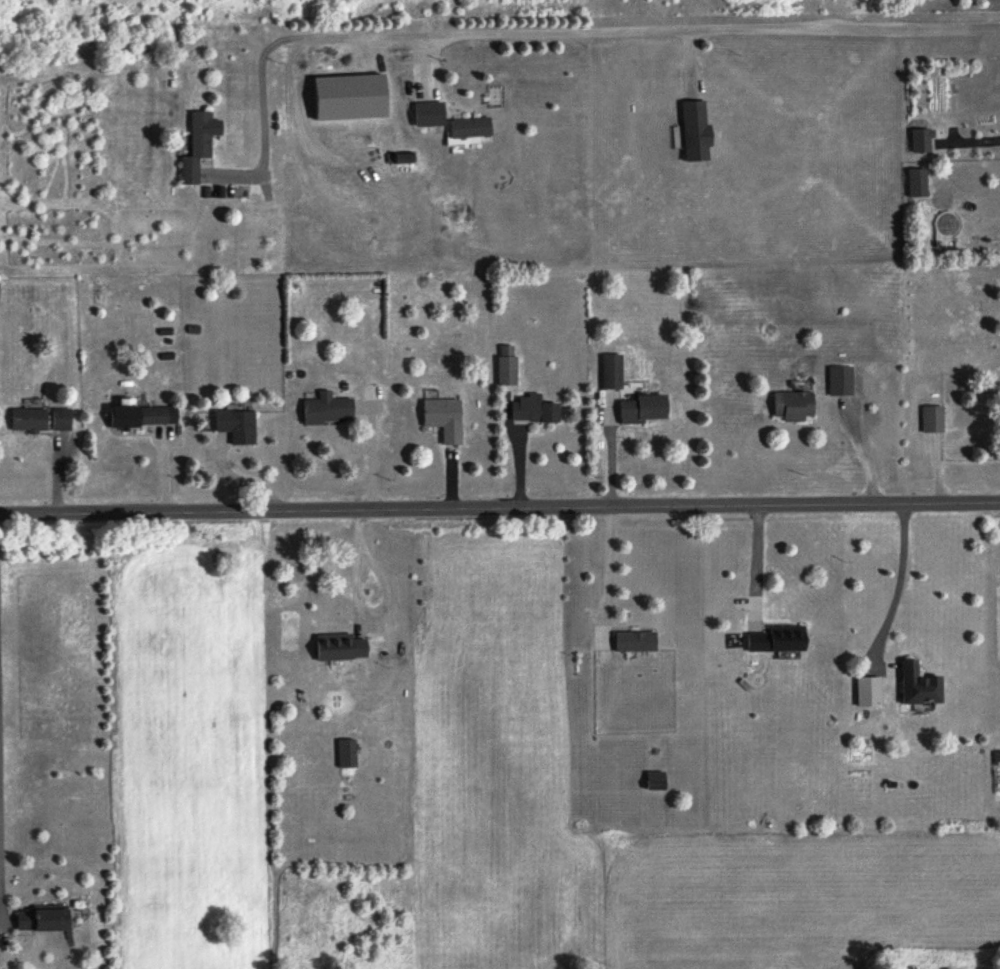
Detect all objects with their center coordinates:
road: (569, 34)
building: (431, 115)
building: (472, 131)
building: (698, 133)
building: (921, 142)
building: (197, 149)
building: (919, 184)
building: (508, 367)
building: (614, 373)
building: (847, 382)
building: (794, 407)
building: (329, 410)
building: (646, 410)
building: (537, 413)
building: (146, 417)
building: (447, 419)
building: (932, 420)
building: (42, 421)
building: (240, 427)
road: (371, 456)
road: (862, 456)
road: (239, 480)
road: (499, 509)
road: (756, 563)
road: (354, 566)
road: (607, 572)
road: (897, 587)
building: (780, 641)
building: (637, 643)
building: (341, 648)
building: (922, 687)
building: (347, 755)
building: (657, 783)
building: (47, 919)

